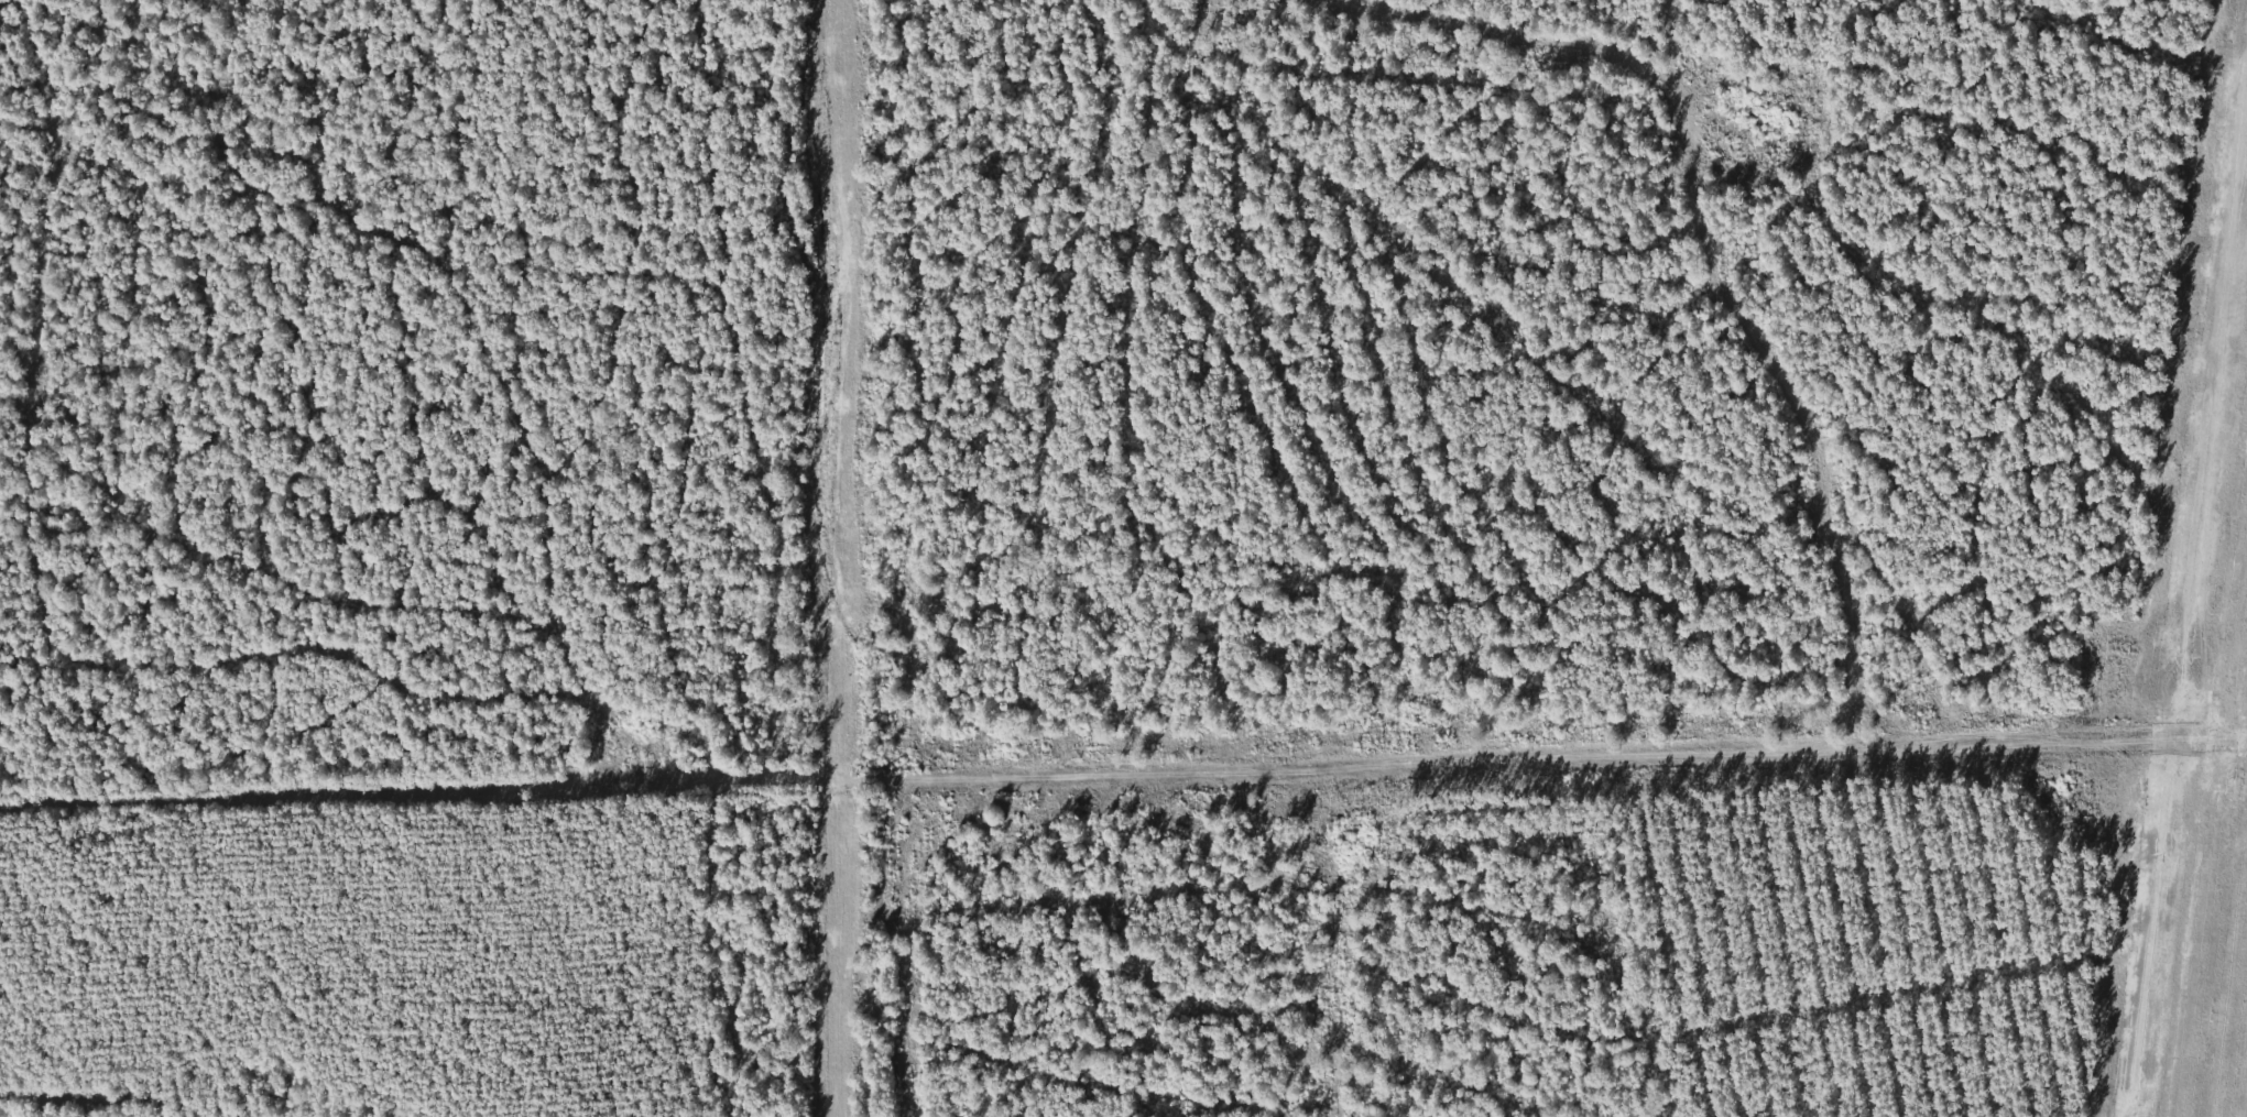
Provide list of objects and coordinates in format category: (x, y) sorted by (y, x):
road: (1123, 753)

